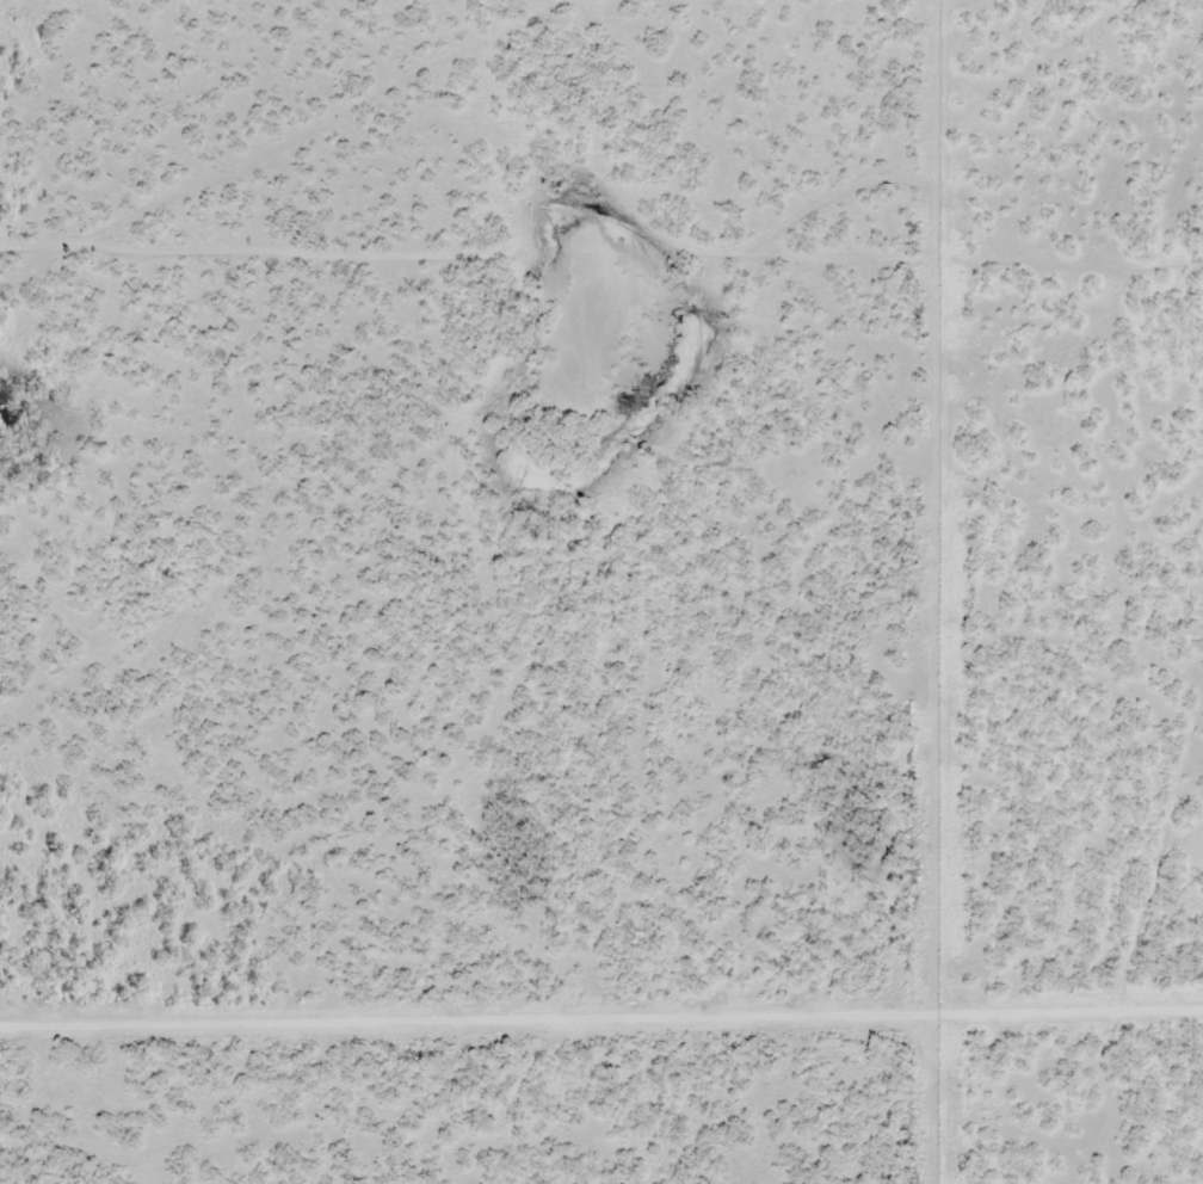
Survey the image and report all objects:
road: (601, 1023)

